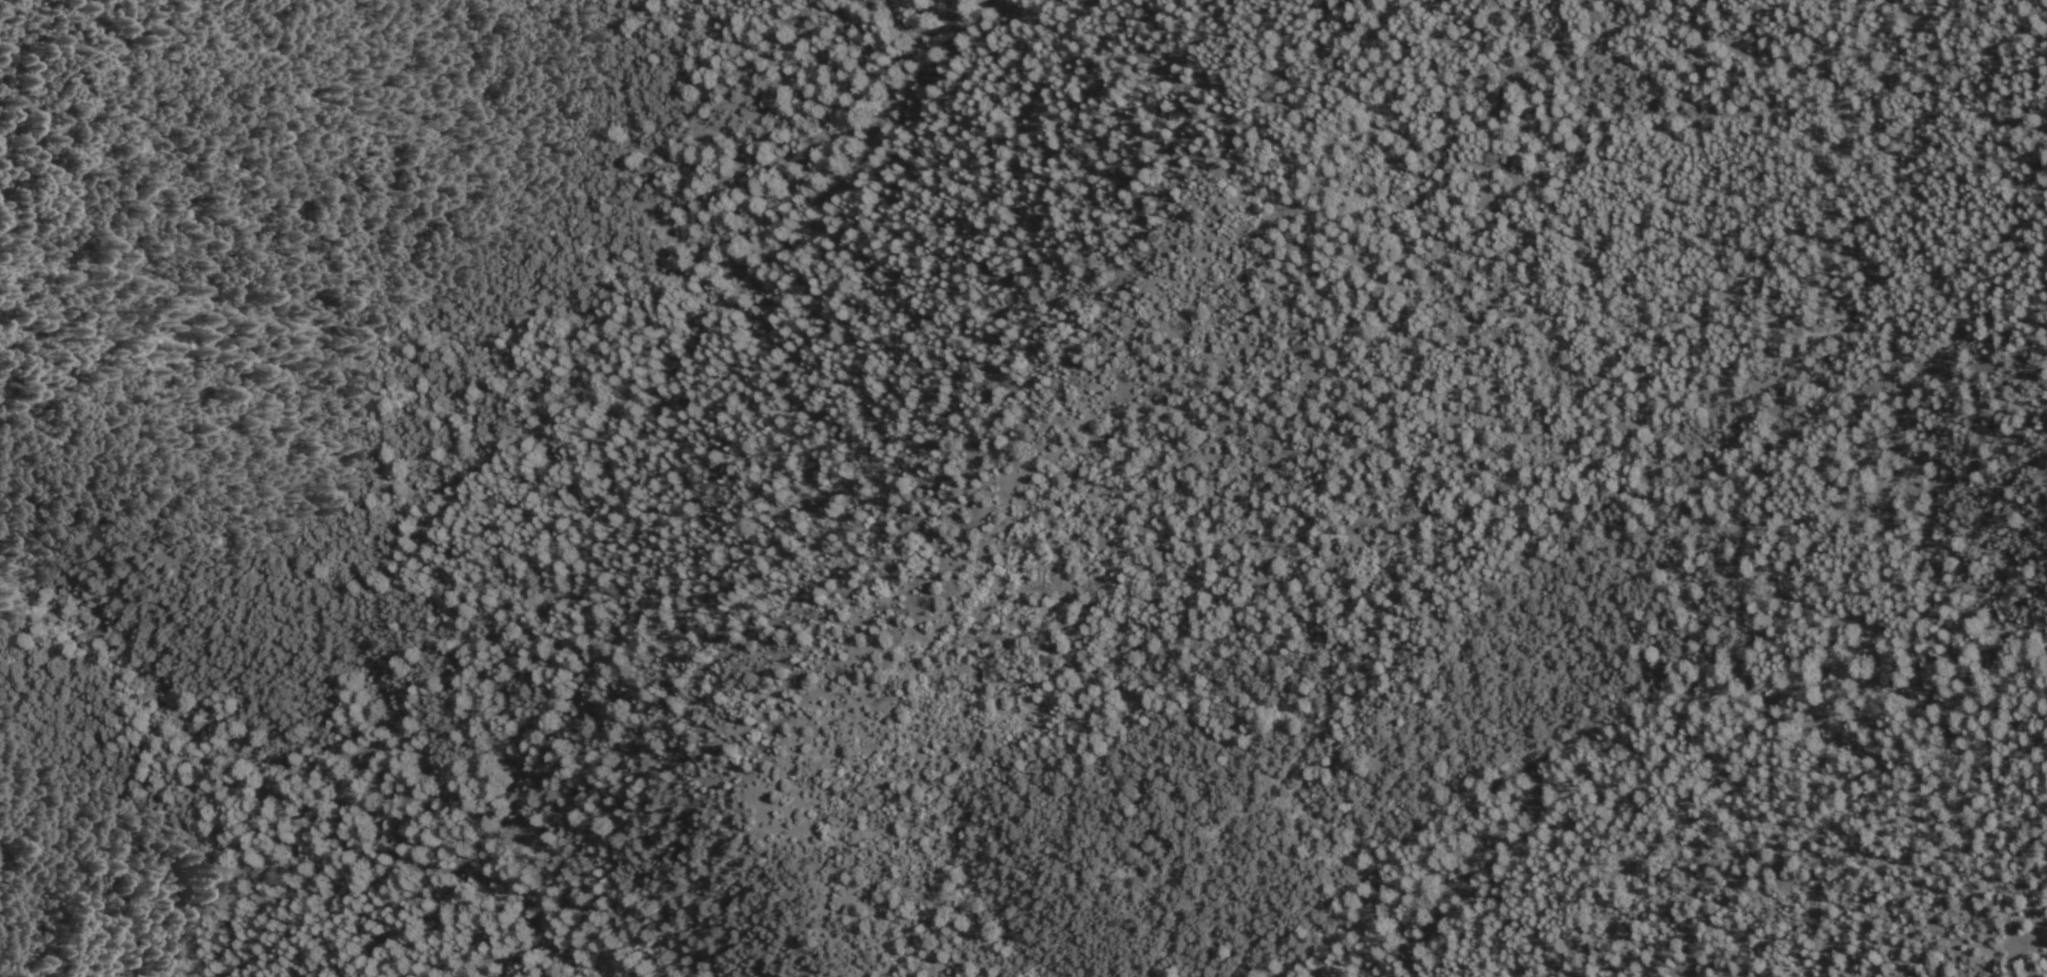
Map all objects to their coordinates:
road: (1982, 254)
road: (1950, 363)
road: (1725, 460)
road: (1796, 712)
road: (2021, 725)
road: (397, 810)
road: (485, 960)

